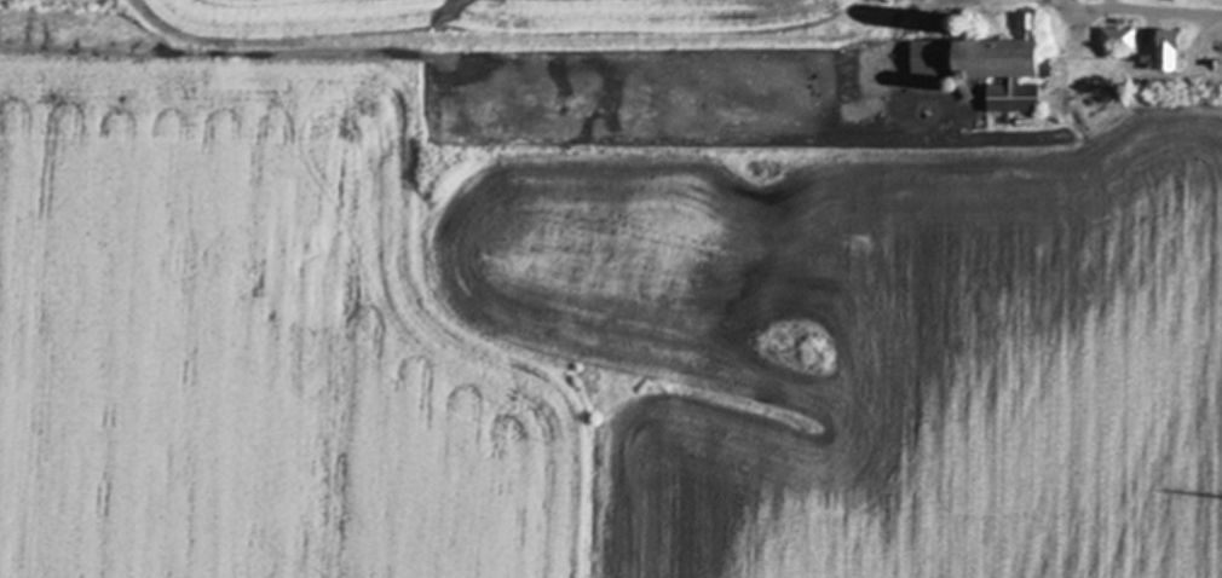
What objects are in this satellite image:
road: (1154, 10)
building: (961, 19)
building: (1118, 35)
building: (1166, 47)
building: (991, 63)

